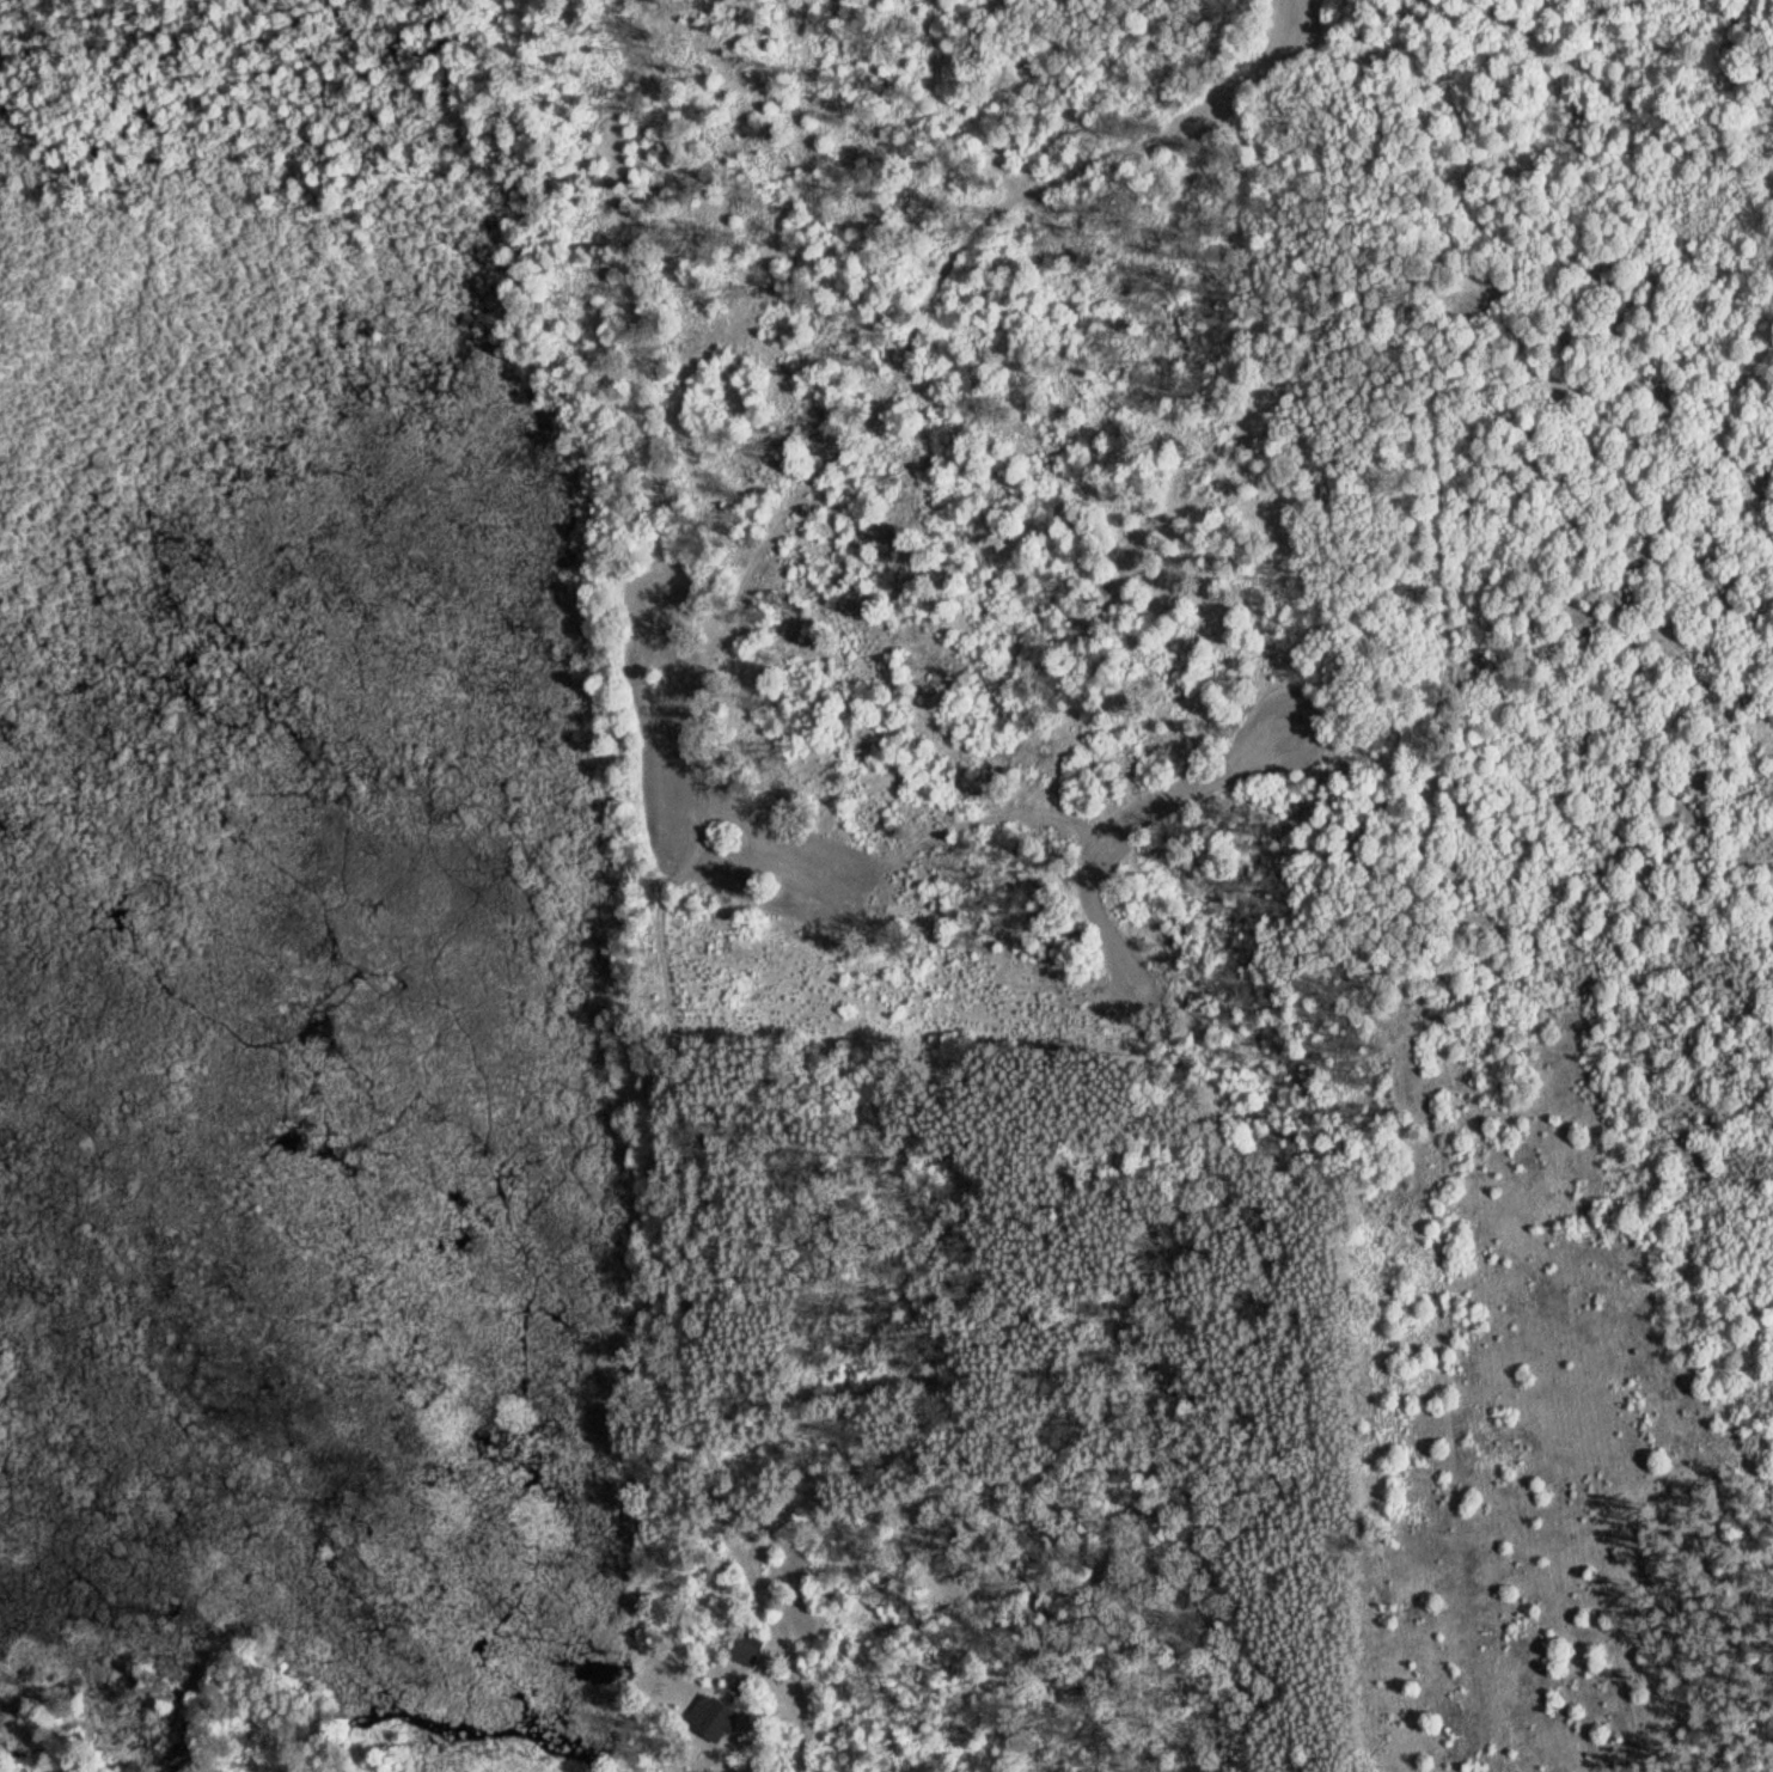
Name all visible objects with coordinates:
building: (745, 1654)
building: (715, 1721)

